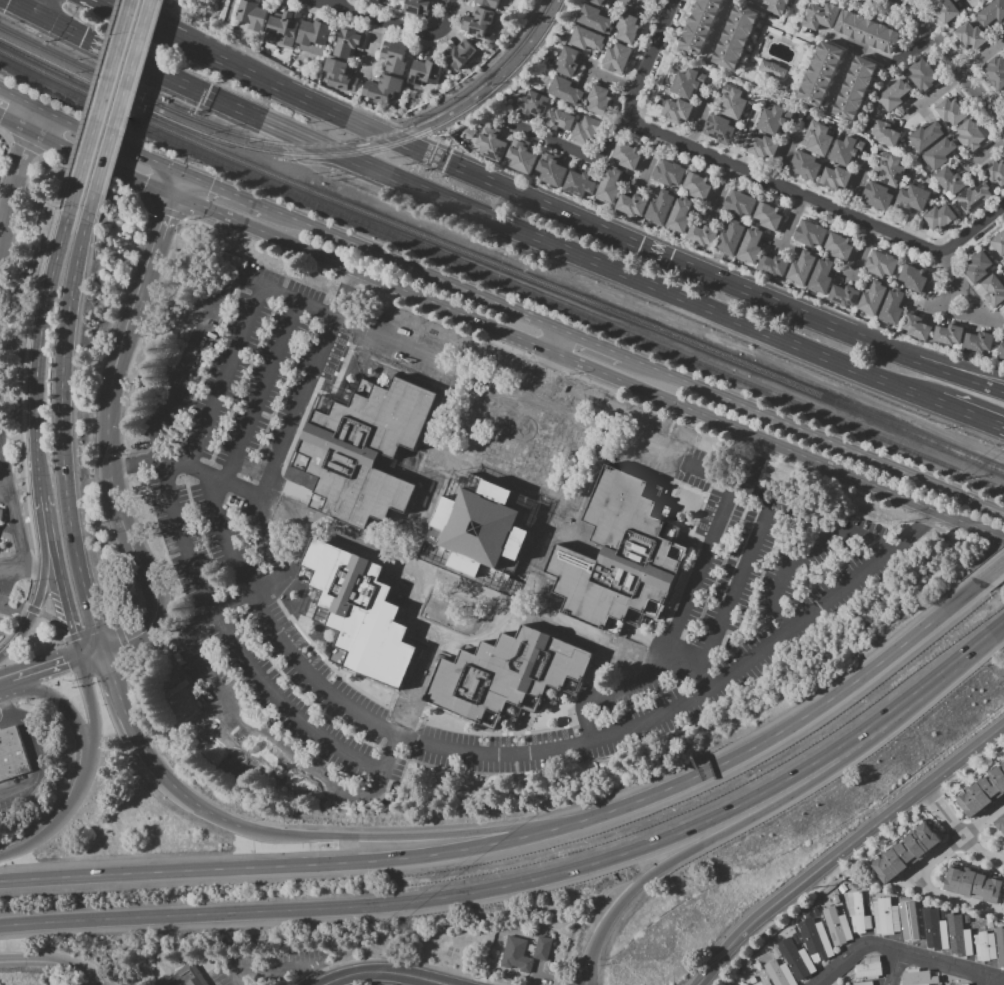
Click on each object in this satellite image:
building: (953, 0)
building: (955, 0)
building: (373, 1)
building: (649, 1)
road: (333, 2)
building: (599, 2)
building: (488, 3)
road: (754, 3)
road: (16, 4)
road: (25, 4)
building: (779, 6)
road: (42, 7)
building: (416, 7)
traffic signals: (24, 8)
building: (945, 10)
road: (31, 11)
building: (991, 13)
building: (252, 14)
traffic signals: (39, 15)
building: (822, 16)
road: (915, 18)
building: (595, 19)
building: (479, 22)
building: (284, 23)
road: (392, 23)
road: (176, 24)
building: (701, 25)
building: (1003, 25)
building: (627, 27)
road: (719, 27)
road: (770, 27)
road: (156, 29)
building: (868, 31)
road: (77, 33)
building: (313, 37)
building: (736, 37)
building: (971, 37)
building: (589, 40)
road: (820, 40)
building: (348, 43)
road: (373, 49)
railway: (6, 53)
building: (460, 55)
road: (879, 56)
road: (979, 56)
building: (394, 58)
building: (617, 58)
road: (647, 59)
road: (752, 61)
building: (568, 62)
railway: (14, 66)
building: (772, 69)
building: (425, 73)
building: (820, 74)
building: (995, 74)
building: (339, 75)
building: (924, 75)
railway: (99, 76)
road: (840, 76)
railway: (505, 78)
road: (610, 79)
building: (688, 82)
railway: (97, 85)
road: (967, 85)
building: (383, 88)
building: (855, 88)
road: (936, 90)
building: (566, 91)
building: (894, 94)
traffic signals: (209, 95)
road: (796, 95)
road: (128, 96)
building: (1002, 96)
building: (599, 100)
building: (732, 102)
building: (532, 105)
building: (678, 110)
building: (951, 111)
road: (698, 118)
road: (1, 119)
building: (774, 119)
building: (559, 120)
road: (16, 123)
building: (719, 128)
railway: (398, 130)
building: (587, 130)
road: (91, 132)
building: (885, 133)
building: (972, 135)
building: (926, 136)
building: (818, 138)
building: (491, 147)
building: (765, 147)
building: (846, 150)
road: (573, 151)
road: (984, 152)
building: (939, 153)
railway: (309, 155)
building: (627, 156)
building: (522, 157)
road: (650, 157)
road: (782, 158)
traffic signals: (439, 159)
road: (103, 165)
building: (806, 165)
building: (890, 169)
building: (551, 172)
building: (994, 172)
building: (668, 173)
road: (18, 176)
building: (836, 178)
building: (950, 180)
traffic signals: (144, 184)
building: (579, 184)
road: (179, 185)
traffic signals: (211, 185)
building: (609, 185)
building: (698, 186)
road: (856, 189)
road: (223, 190)
road: (718, 191)
road: (78, 195)
building: (878, 196)
building: (974, 197)
building: (914, 198)
road: (534, 199)
road: (820, 200)
building: (739, 204)
building: (631, 205)
road: (4, 206)
building: (660, 207)
road: (475, 211)
building: (680, 215)
traffic signals: (168, 216)
building: (769, 216)
building: (940, 218)
road: (790, 220)
building: (810, 234)
road: (264, 235)
building: (703, 235)
building: (731, 237)
building: (998, 243)
building: (750, 246)
building: (840, 246)
road: (155, 253)
building: (1003, 262)
building: (881, 264)
building: (774, 266)
railway: (507, 267)
building: (802, 267)
building: (978, 267)
road: (412, 270)
building: (822, 276)
building: (913, 278)
railway: (513, 286)
building: (994, 289)
building: (844, 295)
building: (873, 297)
building: (1003, 303)
building: (892, 306)
road: (976, 315)
road: (985, 316)
building: (917, 327)
building: (949, 335)
building: (978, 341)
road: (604, 349)
road: (893, 349)
building: (1002, 350)
road: (550, 366)
road: (657, 371)
road: (969, 371)
road: (865, 374)
road: (969, 376)
road: (226, 380)
road: (306, 384)
road: (111, 389)
road: (180, 394)
road: (262, 395)
road: (948, 406)
road: (678, 407)
road: (64, 421)
road: (501, 429)
road: (39, 442)
road: (543, 446)
road: (836, 447)
building: (363, 448)
road: (751, 464)
road: (185, 470)
road: (508, 473)
road: (7, 495)
road: (15, 507)
building: (1, 513)
road: (45, 515)
building: (480, 528)
parking lot: (792, 528)
road: (913, 531)
building: (621, 556)
road: (994, 569)
road: (13, 571)
road: (790, 571)
road: (148, 576)
road: (64, 597)
road: (729, 600)
road: (37, 604)
building: (356, 612)
traffic signals: (74, 632)
road: (674, 637)
traffic signals: (126, 641)
traffic signals: (101, 649)
road: (90, 652)
traffic signals: (66, 662)
road: (40, 670)
traffic signals: (110, 672)
building: (508, 676)
road: (704, 679)
road: (213, 686)
road: (694, 700)
road: (10, 701)
road: (124, 711)
road: (78, 719)
road: (798, 720)
road: (8, 724)
road: (96, 731)
building: (12, 754)
park: (231, 762)
road: (40, 764)
road: (167, 779)
building: (983, 792)
road: (207, 810)
building: (1001, 823)
road: (730, 828)
road: (957, 832)
road: (41, 837)
road: (414, 837)
road: (957, 839)
road: (845, 847)
building: (905, 853)
road: (295, 865)
road: (535, 880)
building: (974, 884)
building: (841, 888)
road: (958, 899)
building: (834, 900)
building: (910, 904)
building: (1003, 907)
building: (929, 909)
building: (942, 912)
building: (858, 913)
building: (885, 916)
building: (820, 925)
building: (912, 926)
building: (989, 926)
building: (836, 927)
building: (935, 930)
building: (960, 936)
building: (819, 945)
building: (985, 946)
building: (1001, 947)
building: (514, 948)
building: (776, 952)
road: (903, 955)
road: (55, 961)
building: (798, 961)
parking lot: (266, 967)
building: (869, 968)
road: (894, 969)
road: (382, 971)
road: (537, 972)
road: (279, 973)
building: (779, 973)
road: (587, 975)
building: (183, 977)
building: (918, 978)
building: (752, 980)
road: (986, 981)
building: (764, 982)
building: (863, 983)
building: (965, 984)

